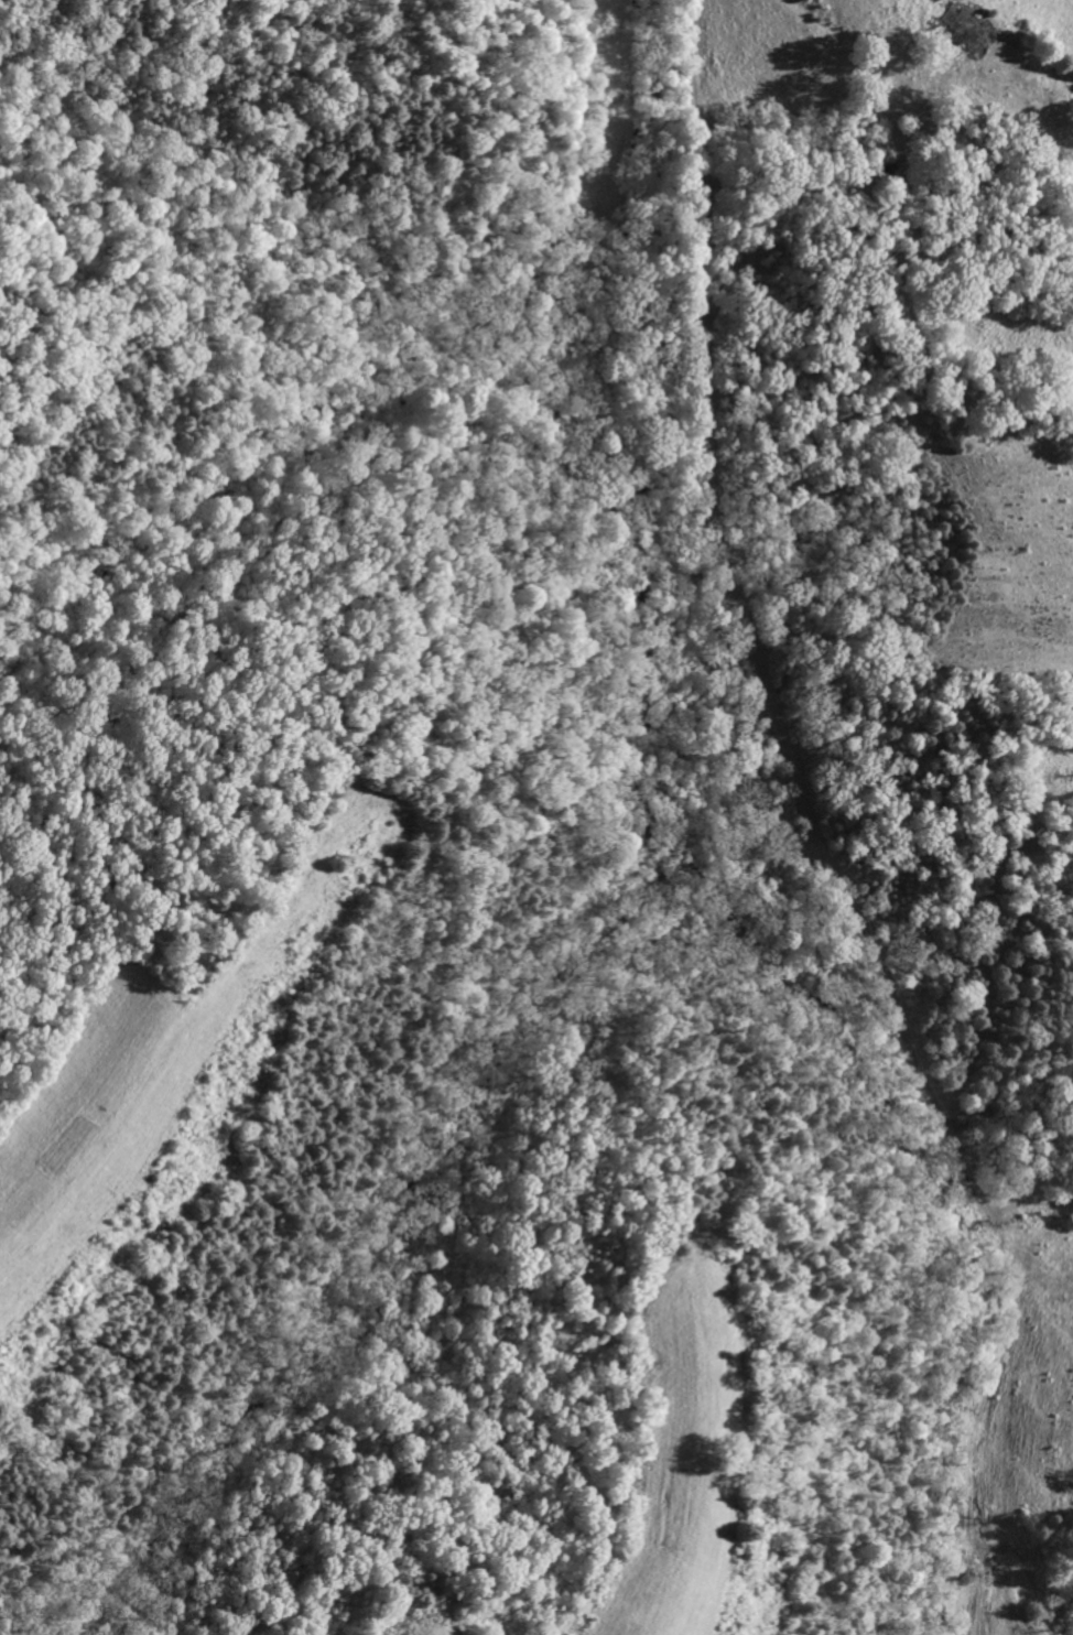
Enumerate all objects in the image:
road: (788, 840)

